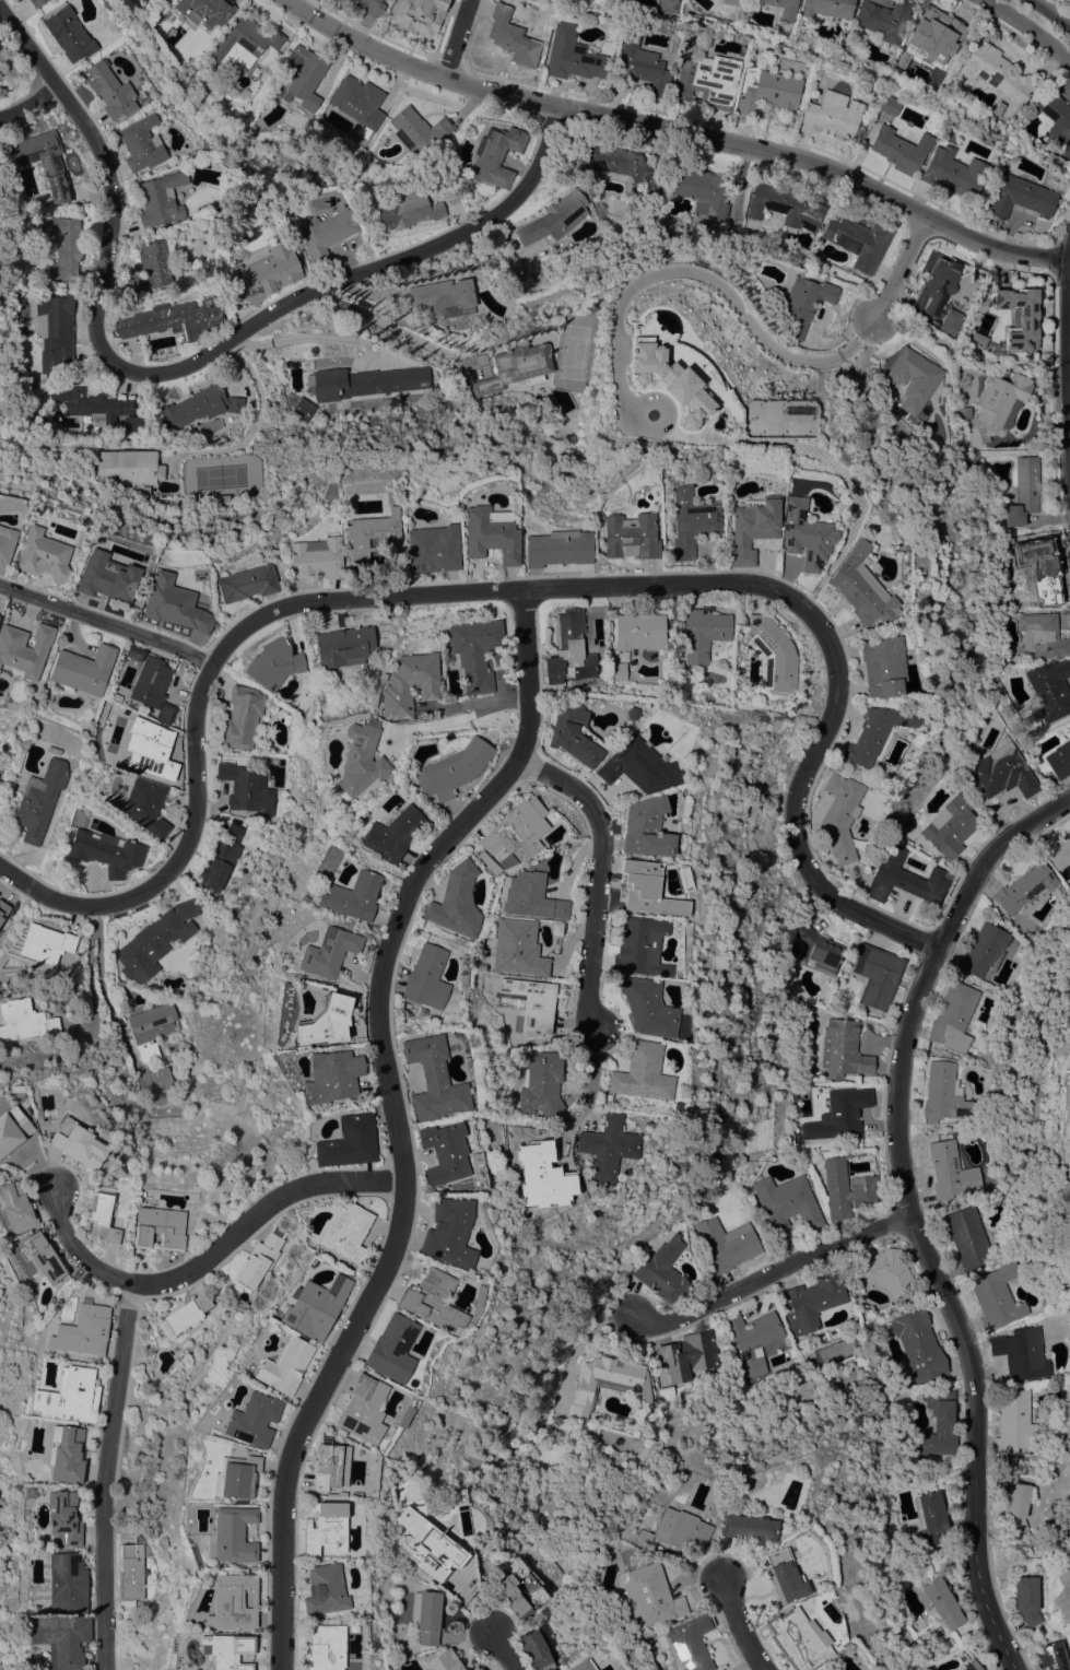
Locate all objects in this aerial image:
building: (66, 1)
building: (730, 1)
building: (36, 2)
building: (368, 7)
building: (784, 8)
building: (827, 8)
building: (204, 11)
building: (418, 15)
building: (883, 19)
road: (1040, 21)
building: (69, 34)
building: (512, 36)
road: (454, 38)
building: (933, 40)
building: (243, 44)
building: (573, 56)
building: (640, 63)
building: (995, 71)
building: (301, 77)
building: (707, 82)
building: (109, 90)
building: (766, 90)
road: (28, 102)
building: (358, 103)
building: (889, 105)
building: (999, 108)
building: (832, 113)
building: (1056, 122)
building: (416, 131)
road: (674, 131)
building: (142, 143)
building: (899, 149)
building: (496, 154)
building: (45, 161)
building: (623, 165)
building: (953, 173)
building: (703, 195)
building: (1021, 198)
building: (161, 199)
building: (786, 205)
building: (410, 210)
building: (2, 215)
building: (555, 217)
building: (325, 233)
building: (858, 240)
building: (63, 246)
building: (801, 249)
building: (152, 264)
road: (692, 270)
road: (897, 271)
building: (263, 272)
building: (936, 287)
building: (444, 297)
building: (806, 302)
building: (590, 308)
building: (10, 315)
building: (1015, 315)
building: (172, 319)
building: (950, 320)
road: (393, 329)
building: (55, 331)
road: (1067, 360)
road: (186, 366)
building: (515, 367)
building: (914, 378)
building: (669, 379)
building: (366, 381)
building: (92, 403)
building: (298, 404)
building: (200, 405)
building: (995, 407)
building: (778, 419)
building: (133, 422)
building: (129, 466)
building: (145, 489)
building: (1023, 491)
building: (220, 501)
building: (691, 521)
building: (752, 527)
building: (491, 533)
building: (373, 534)
building: (806, 534)
building: (630, 536)
building: (5, 544)
building: (433, 548)
building: (557, 548)
building: (44, 555)
building: (317, 557)
building: (1037, 566)
building: (107, 576)
building: (247, 583)
building: (861, 587)
road: (514, 588)
building: (1035, 596)
building: (175, 603)
road: (106, 623)
building: (639, 631)
building: (703, 633)
building: (1042, 635)
building: (343, 646)
building: (24, 649)
building: (569, 649)
building: (134, 651)
building: (475, 651)
building: (774, 654)
building: (1007, 658)
building: (274, 662)
building: (882, 666)
building: (83, 669)
building: (618, 671)
building: (410, 683)
building: (153, 687)
building: (1050, 690)
road: (458, 716)
building: (242, 717)
building: (875, 732)
building: (574, 736)
building: (150, 748)
building: (54, 749)
building: (1032, 753)
building: (361, 758)
building: (1060, 760)
building: (0, 765)
building: (637, 766)
building: (0, 767)
building: (452, 769)
building: (1002, 772)
building: (0, 781)
building: (246, 788)
building: (39, 800)
building: (146, 805)
building: (840, 815)
building: (1069, 824)
building: (950, 826)
building: (646, 827)
building: (517, 832)
building: (393, 833)
building: (567, 836)
building: (1058, 850)
building: (106, 852)
building: (220, 858)
road: (596, 875)
building: (906, 881)
building: (1026, 889)
building: (646, 892)
building: (353, 895)
building: (530, 896)
building: (456, 902)
building: (4, 914)
building: (155, 940)
building: (45, 945)
building: (639, 945)
building: (518, 948)
building: (818, 950)
building: (985, 950)
building: (328, 951)
building: (877, 975)
building: (426, 977)
road: (96, 989)
building: (532, 1003)
building: (646, 1007)
building: (827, 1011)
building: (954, 1016)
building: (24, 1020)
building: (326, 1020)
building: (151, 1028)
building: (843, 1049)
building: (644, 1072)
building: (332, 1075)
building: (160, 1077)
building: (434, 1079)
building: (541, 1083)
building: (944, 1094)
building: (840, 1114)
road: (392, 1118)
building: (12, 1128)
building: (349, 1142)
building: (79, 1144)
building: (607, 1148)
building: (445, 1152)
building: (951, 1172)
building: (537, 1173)
building: (571, 1184)
building: (847, 1188)
building: (787, 1202)
building: (17, 1206)
road: (904, 1211)
building: (102, 1214)
building: (160, 1227)
building: (346, 1232)
building: (449, 1232)
building: (967, 1237)
building: (727, 1244)
road: (208, 1254)
building: (46, 1258)
building: (258, 1260)
building: (663, 1270)
building: (885, 1272)
road: (775, 1279)
building: (997, 1296)
building: (432, 1299)
building: (813, 1302)
building: (316, 1306)
building: (188, 1313)
building: (83, 1330)
building: (753, 1339)
building: (919, 1344)
building: (392, 1349)
building: (1022, 1353)
building: (687, 1355)
building: (285, 1365)
building: (608, 1384)
building: (667, 1393)
building: (70, 1396)
building: (364, 1409)
building: (252, 1420)
building: (1015, 1422)
building: (940, 1424)
building: (67, 1454)
building: (331, 1466)
road: (101, 1475)
building: (235, 1477)
building: (1015, 1507)
building: (64, 1518)
building: (931, 1519)
building: (326, 1528)
building: (746, 1528)
building: (674, 1530)
building: (232, 1536)
building: (431, 1555)
building: (130, 1574)
building: (781, 1577)
building: (68, 1581)
building: (326, 1589)
building: (520, 1592)
building: (650, 1595)
building: (1026, 1599)
building: (233, 1601)
building: (942, 1602)
building: (426, 1615)
road: (739, 1628)
building: (62, 1639)
building: (798, 1639)
building: (690, 1643)
building: (327, 1647)
building: (536, 1649)
building: (228, 1650)
road: (502, 1651)
building: (1053, 1656)
building: (440, 1660)
building: (581, 1665)
building: (971, 1666)
building: (479, 1669)
building: (720, 1669)
building: (827, 1669)
building: (830, 1669)

